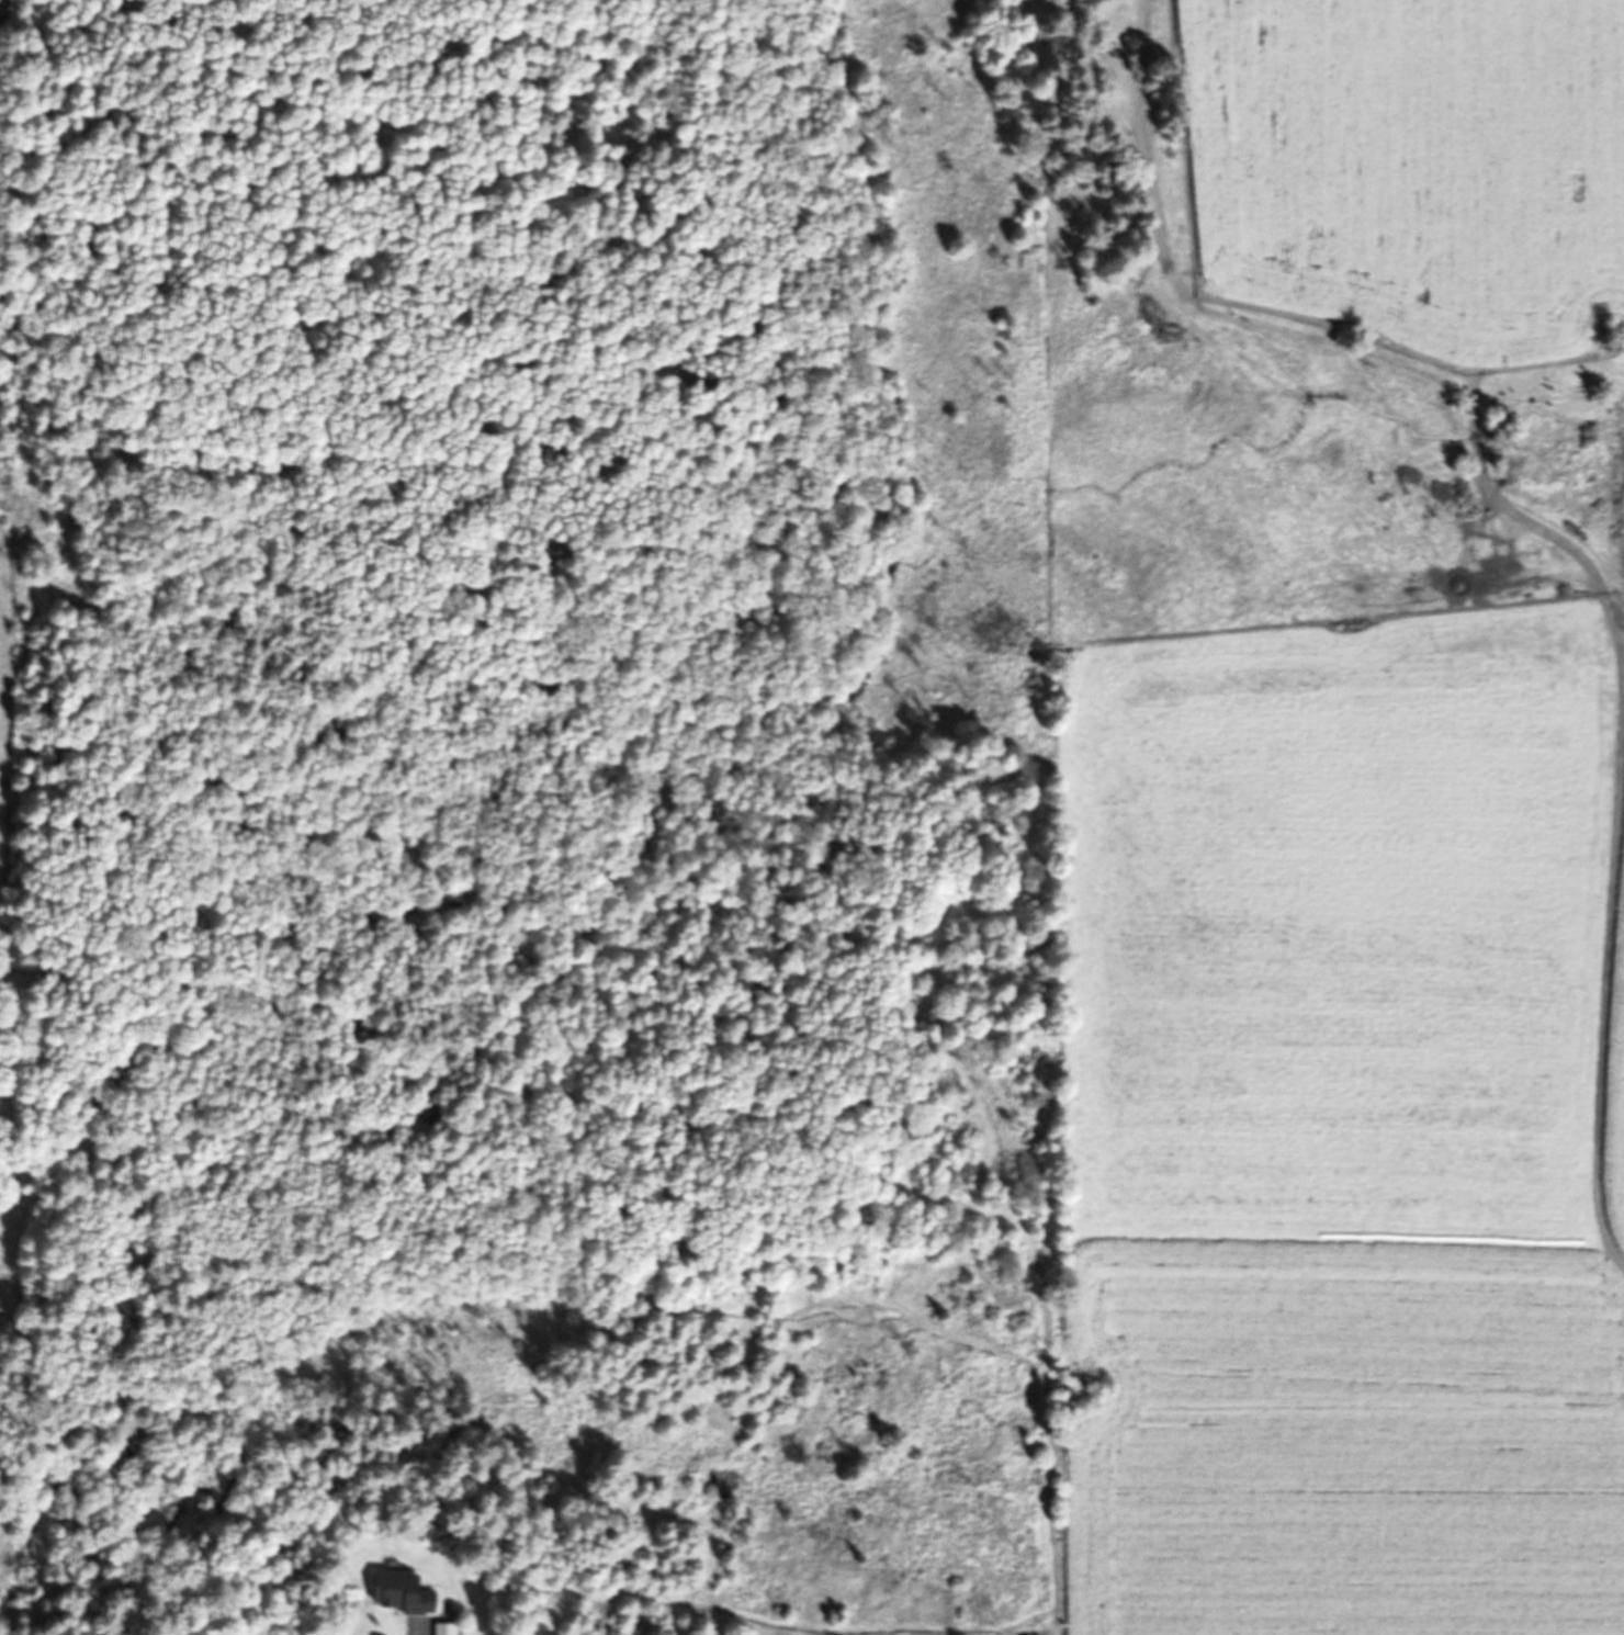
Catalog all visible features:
building: (396, 1591)

